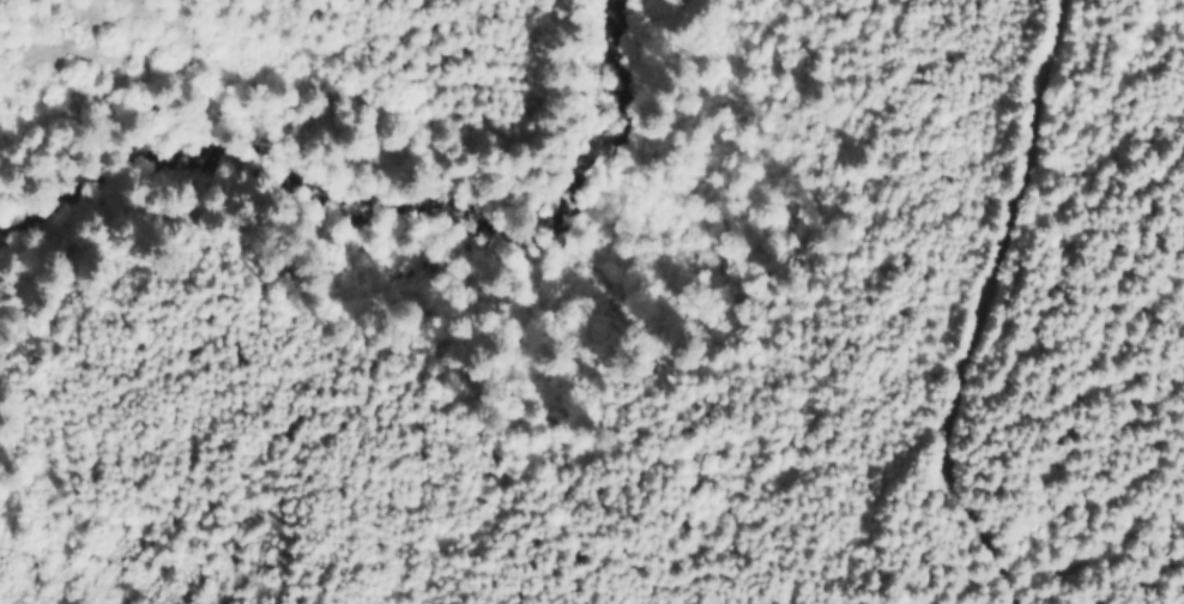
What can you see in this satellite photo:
road: (967, 302)

